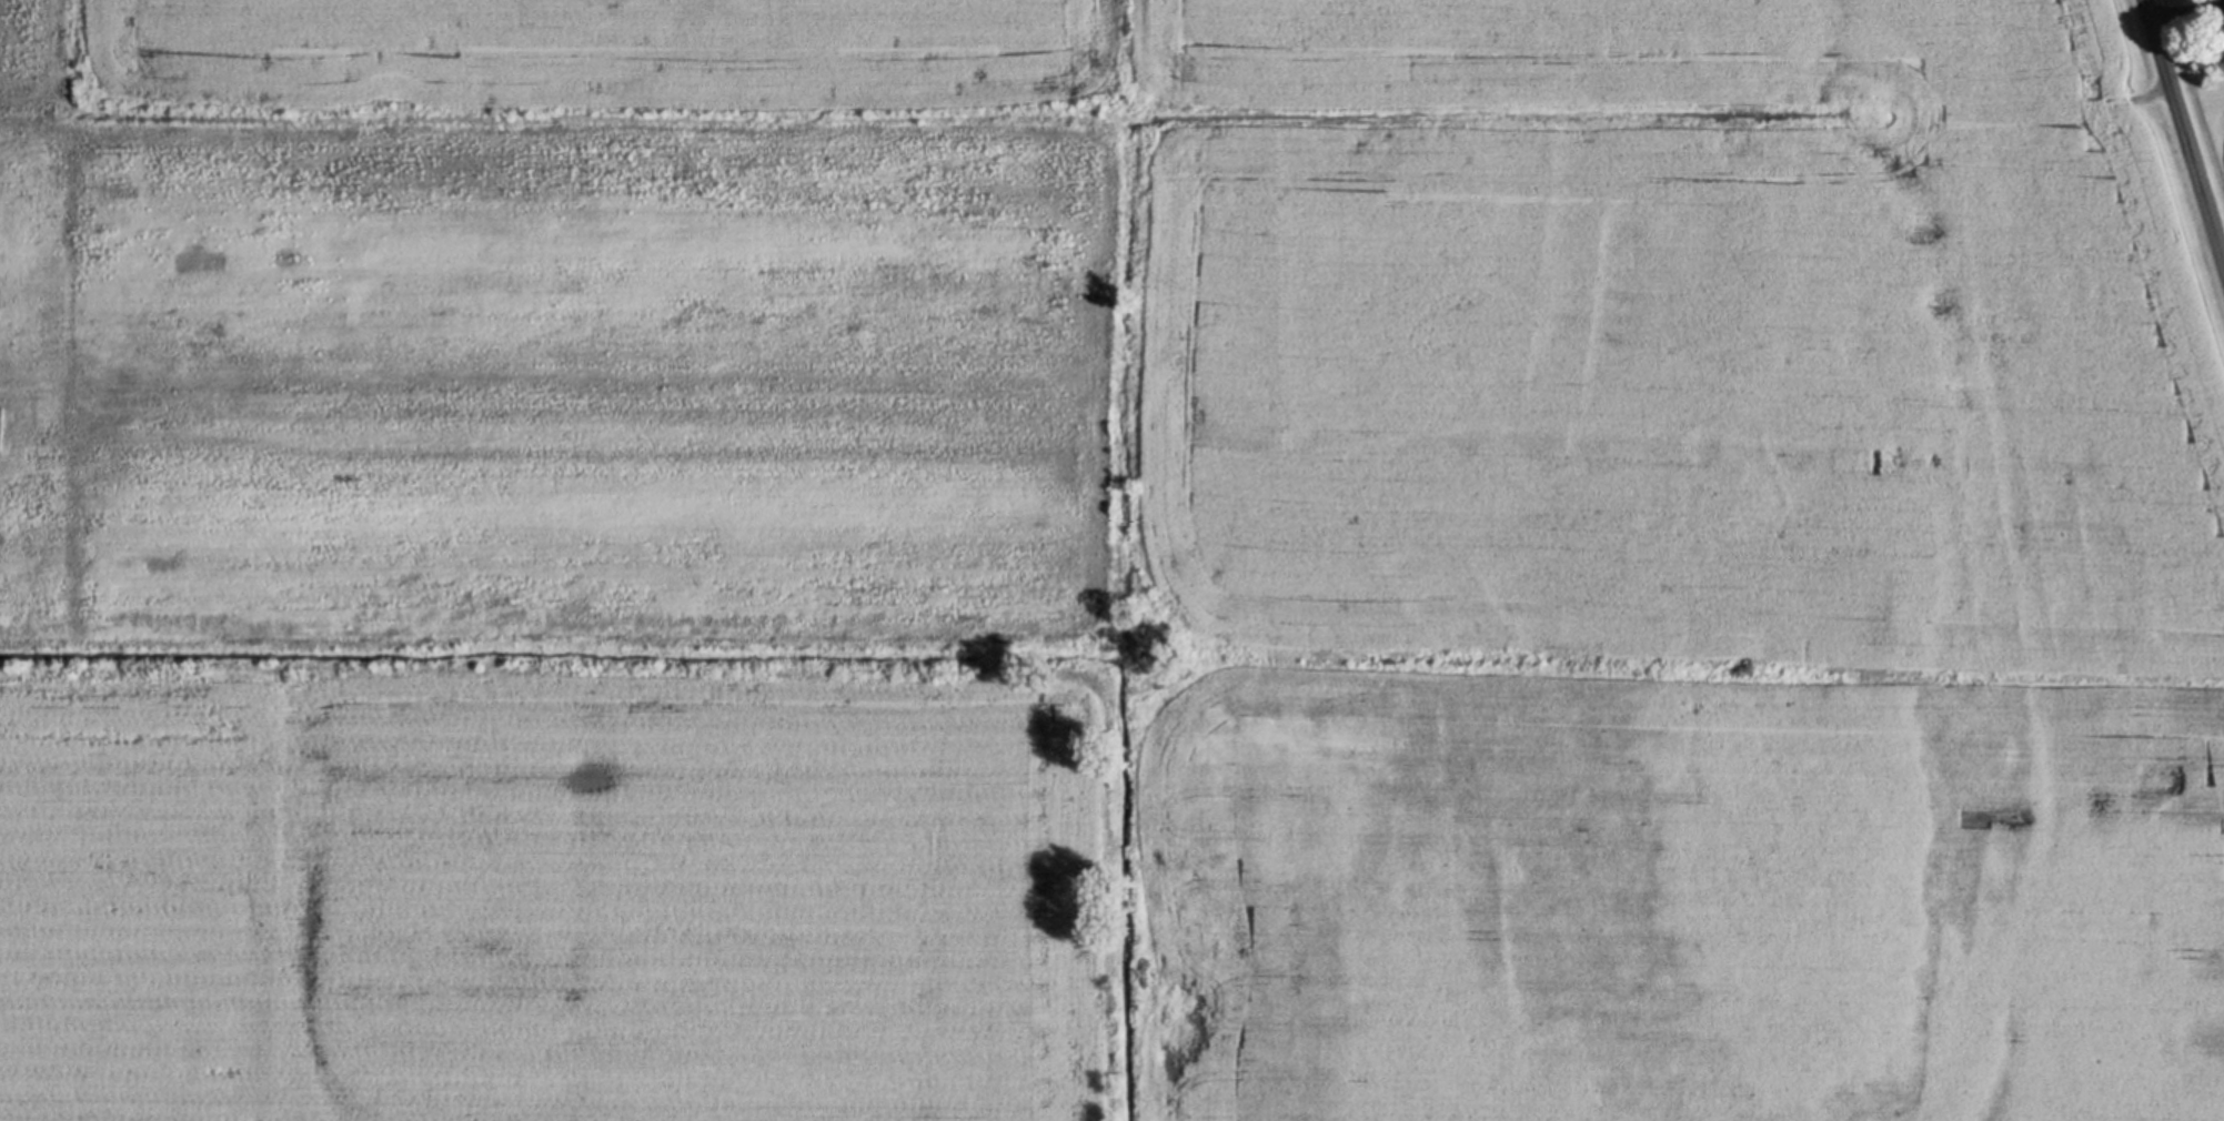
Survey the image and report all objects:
road: (2190, 17)
road: (2186, 125)

